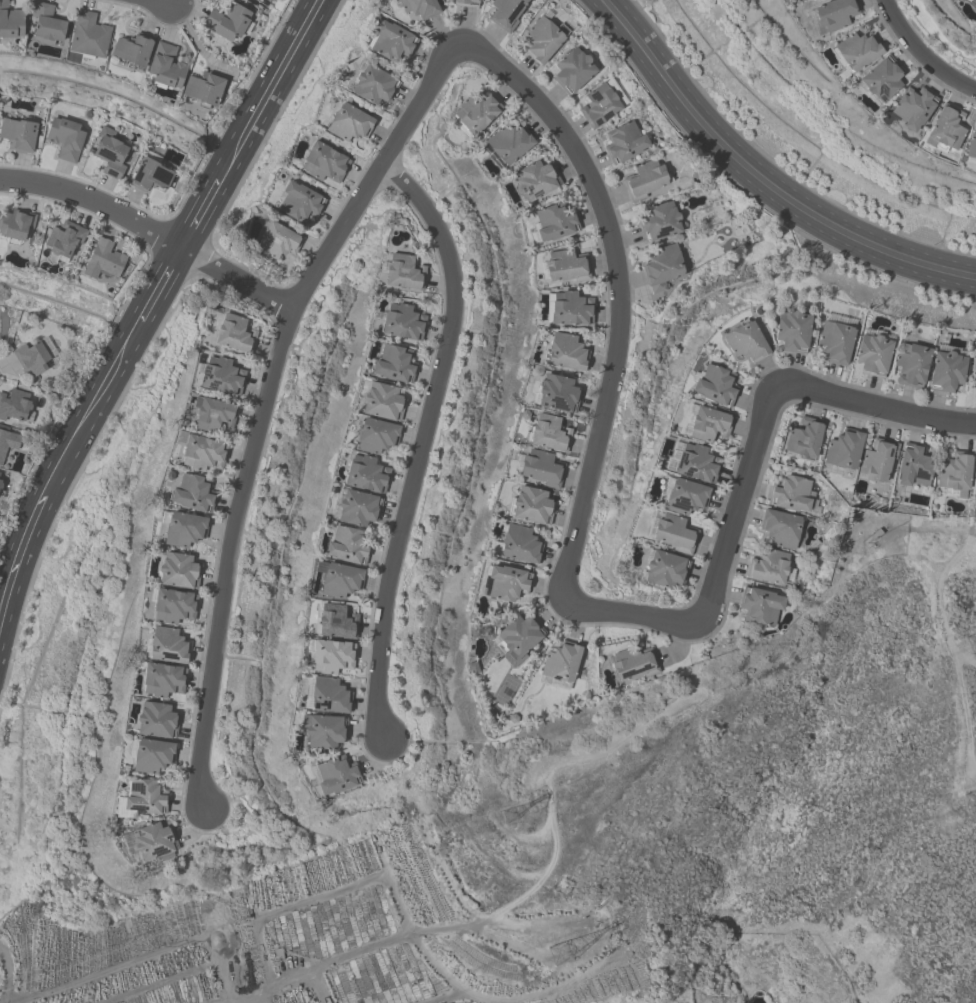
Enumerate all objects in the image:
building: (465, 2)
building: (973, 2)
building: (419, 8)
building: (508, 14)
building: (833, 15)
road: (900, 17)
building: (11, 22)
building: (229, 22)
building: (47, 24)
building: (89, 36)
building: (544, 41)
building: (391, 42)
building: (133, 51)
building: (858, 52)
road: (940, 64)
building: (168, 67)
building: (575, 71)
building: (882, 81)
building: (374, 85)
road: (270, 86)
building: (205, 89)
building: (600, 106)
building: (913, 109)
building: (477, 113)
building: (350, 124)
building: (948, 130)
building: (19, 136)
building: (66, 139)
building: (626, 143)
building: (510, 144)
building: (972, 148)
building: (112, 154)
building: (325, 163)
building: (154, 170)
road: (760, 178)
building: (646, 180)
building: (536, 181)
building: (299, 202)
road: (201, 210)
building: (662, 222)
building: (555, 223)
building: (16, 226)
road: (151, 230)
building: (65, 240)
building: (278, 242)
building: (105, 261)
building: (566, 268)
building: (664, 268)
building: (405, 273)
road: (161, 282)
road: (618, 290)
building: (571, 309)
building: (402, 322)
building: (794, 332)
building: (236, 334)
building: (837, 338)
building: (747, 342)
building: (566, 352)
building: (874, 353)
building: (38, 357)
building: (394, 365)
building: (912, 365)
building: (949, 369)
building: (222, 376)
building: (717, 386)
building: (558, 394)
building: (383, 402)
road: (263, 403)
road: (878, 404)
building: (17, 406)
building: (214, 415)
building: (706, 423)
building: (548, 433)
building: (376, 436)
building: (805, 439)
road: (420, 441)
building: (8, 443)
building: (845, 450)
building: (202, 452)
building: (693, 462)
building: (879, 462)
road: (61, 464)
building: (915, 467)
building: (540, 469)
building: (367, 474)
building: (956, 476)
building: (2, 480)
building: (193, 493)
building: (793, 494)
building: (685, 496)
road: (740, 501)
building: (533, 507)
building: (356, 508)
building: (784, 529)
building: (184, 530)
building: (672, 533)
building: (867, 537)
building: (347, 545)
building: (520, 545)
building: (772, 568)
building: (666, 570)
building: (179, 572)
building: (341, 581)
building: (507, 583)
building: (175, 607)
building: (762, 607)
road: (632, 611)
building: (337, 622)
power tower: (955, 638)
building: (518, 639)
building: (169, 646)
building: (331, 657)
building: (633, 665)
building: (562, 666)
building: (164, 680)
building: (329, 696)
building: (157, 720)
building: (323, 732)
building: (154, 756)
building: (335, 776)
building: (143, 799)
power tower: (960, 799)
power tower: (496, 811)
building: (150, 843)
power tower: (571, 931)
crop: (292, 932)

